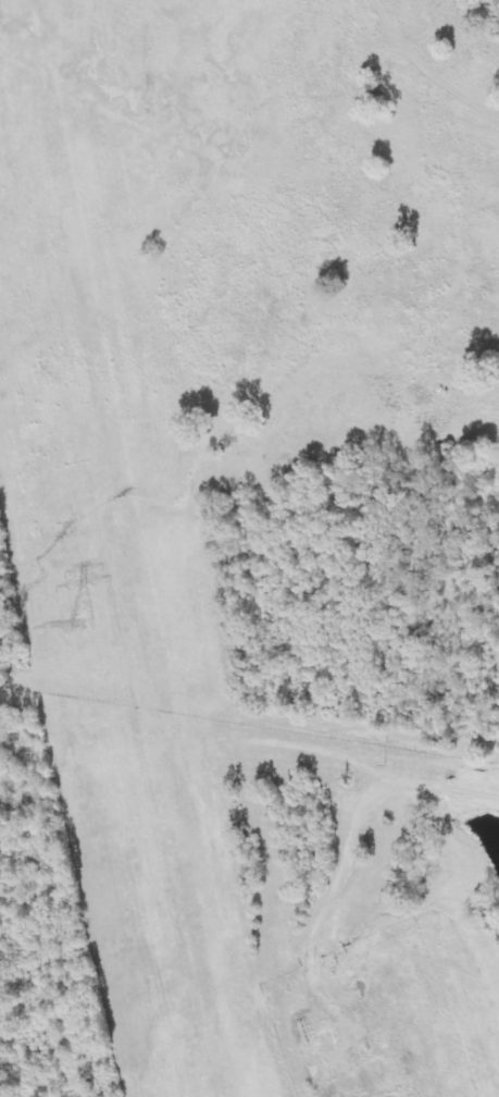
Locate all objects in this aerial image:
railway: (198, 548)
power tower: (77, 625)

